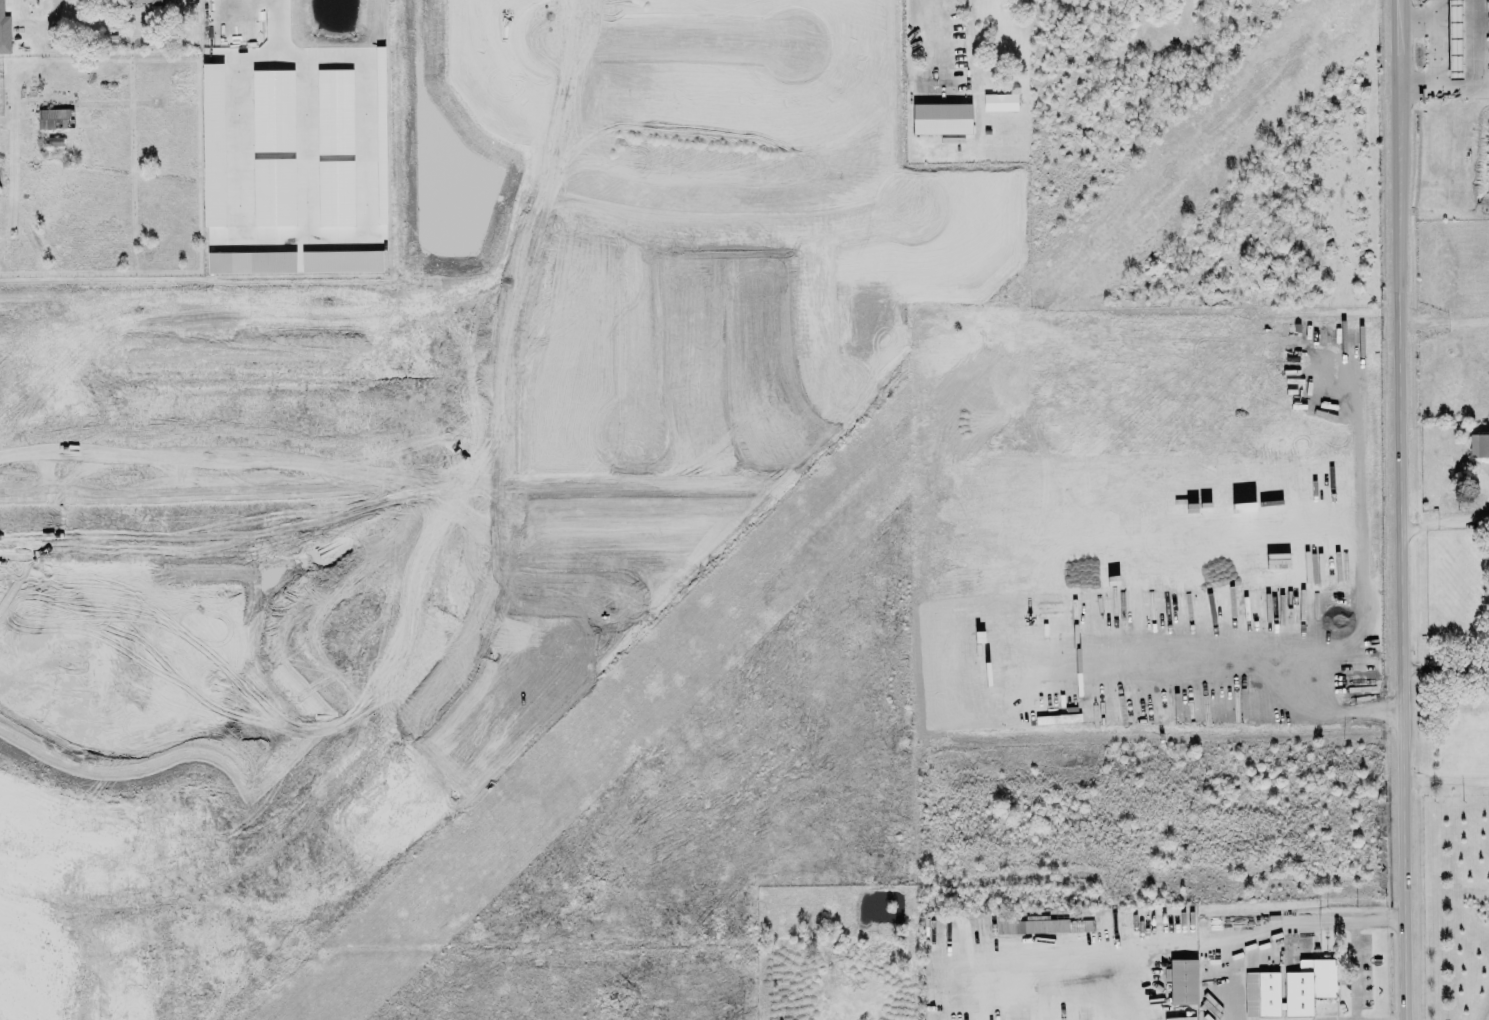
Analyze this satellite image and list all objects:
building: (148, 2)
building: (0, 4)
road: (47, 18)
road: (1422, 22)
road: (914, 27)
building: (4, 35)
building: (1455, 35)
road: (278, 51)
road: (1474, 83)
building: (999, 103)
building: (273, 111)
building: (335, 112)
building: (941, 116)
building: (53, 120)
building: (213, 145)
building: (274, 193)
building: (336, 194)
building: (342, 262)
building: (251, 263)
road: (1443, 325)
building: (1479, 446)
road: (1402, 510)
road: (1445, 520)
road: (1355, 548)
road: (1445, 669)
road: (1220, 673)
road: (1450, 780)
park: (1456, 906)
road: (1269, 941)
road: (1356, 943)
building: (1183, 982)
building: (1308, 986)
building: (1262, 994)

